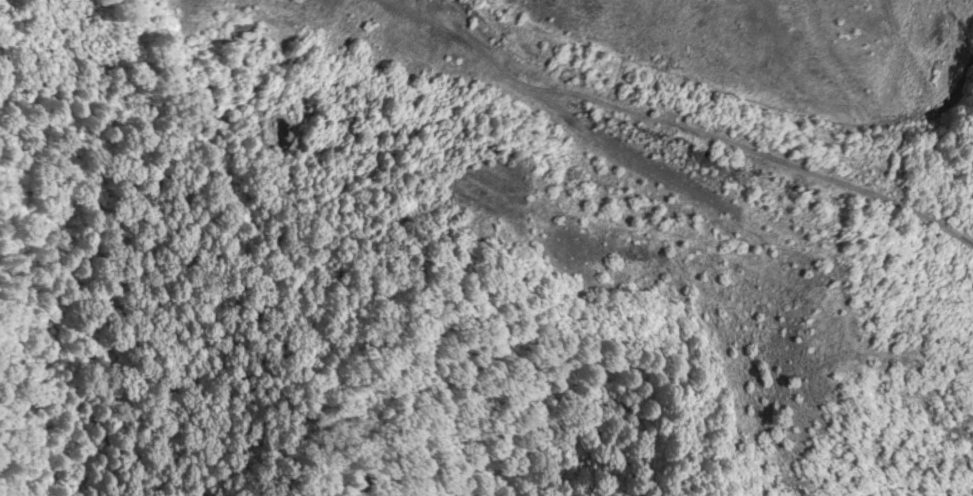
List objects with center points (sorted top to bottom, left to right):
quarry: (563, 67)

